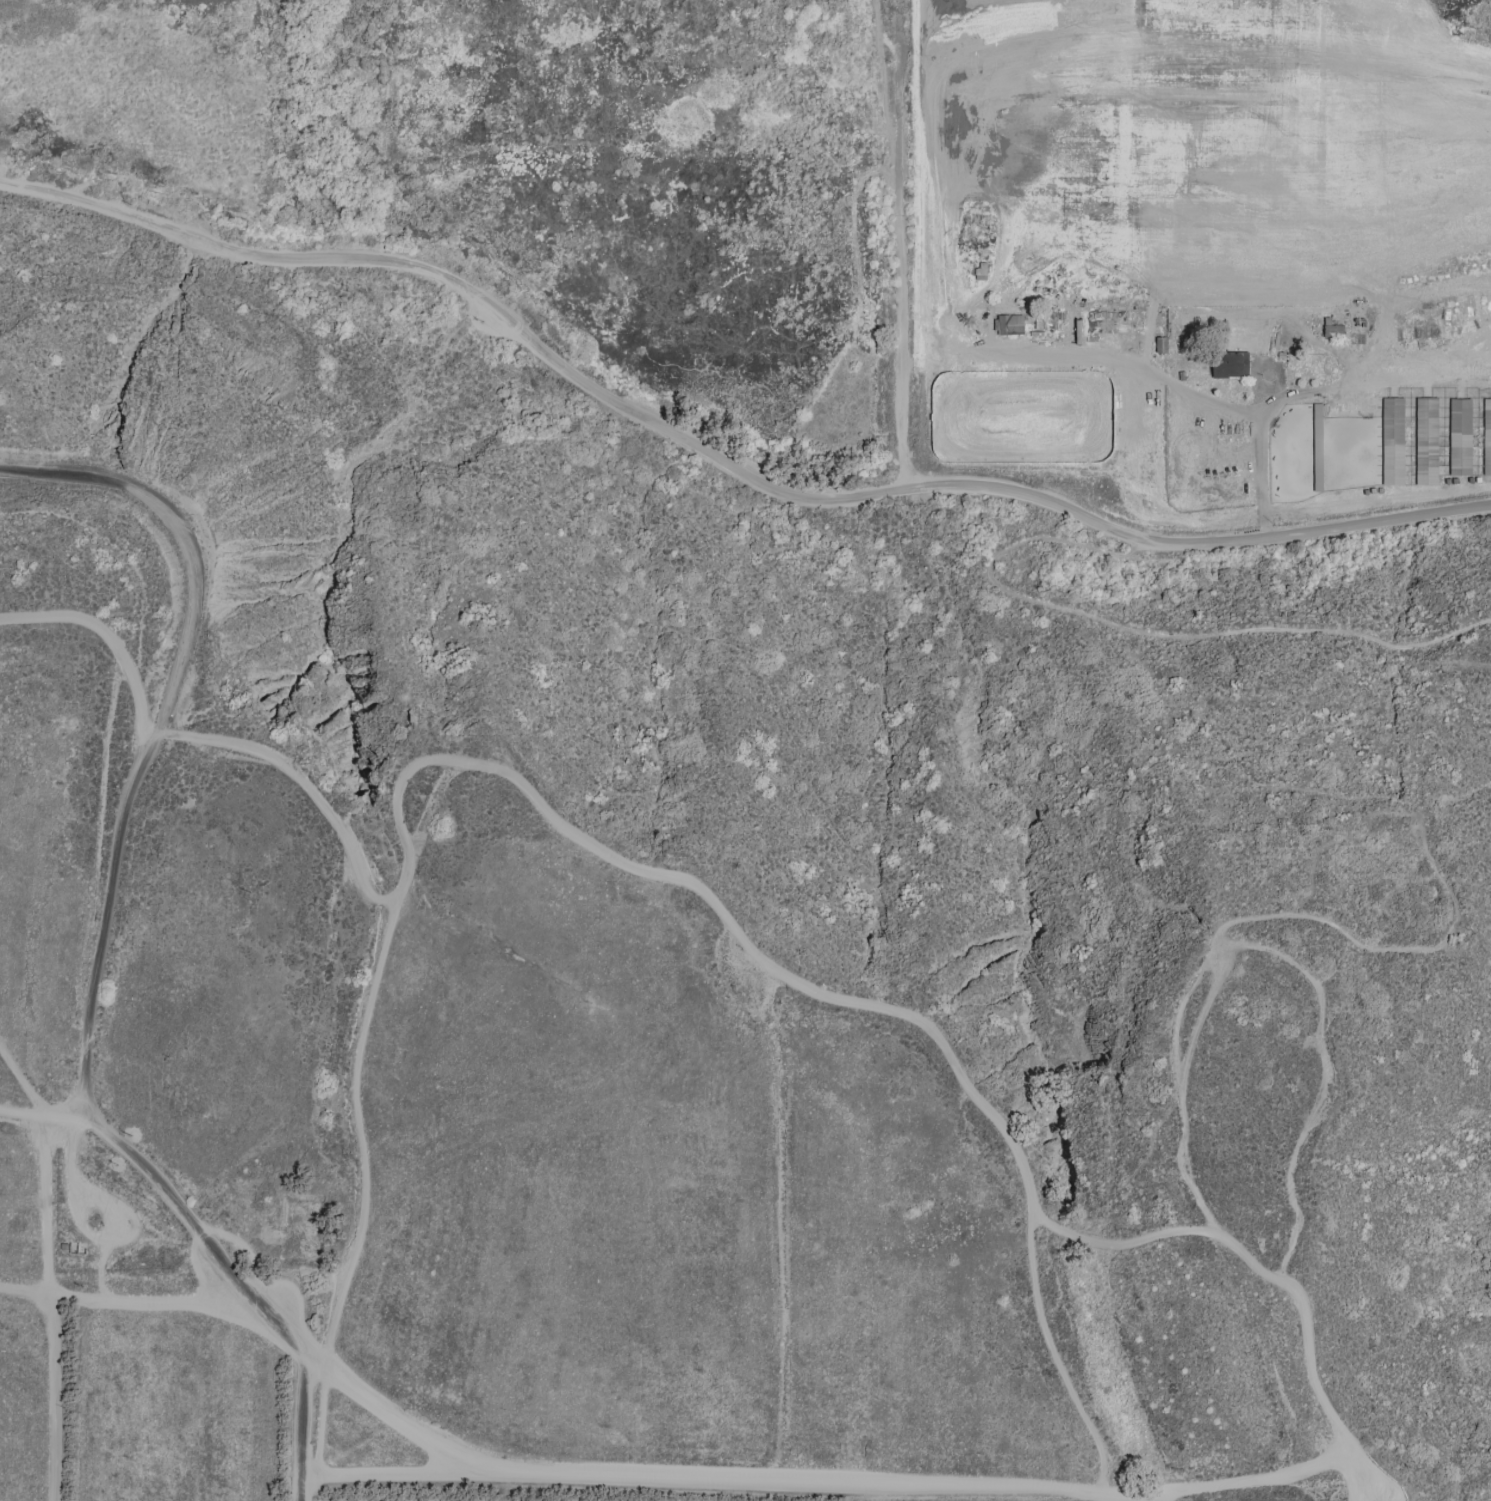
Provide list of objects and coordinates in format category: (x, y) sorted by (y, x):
road: (896, 244)
building: (985, 273)
building: (1002, 282)
building: (1119, 323)
building: (1013, 325)
building: (1336, 331)
building: (1082, 333)
building: (1164, 346)
building: (1233, 365)
road: (1339, 374)
road: (1169, 381)
building: (968, 395)
building: (1030, 408)
building: (1112, 424)
building: (1461, 436)
building: (1487, 437)
building: (1181, 440)
building: (1427, 440)
building: (1393, 441)
building: (1318, 447)
road: (722, 453)
road: (1144, 632)
road: (163, 726)
road: (1278, 950)
road: (18, 1081)
road: (354, 1134)
building: (78, 1247)
road: (1036, 1250)
road: (128, 1299)
road: (48, 1305)
road: (1308, 1358)
road: (306, 1426)
road: (1355, 1480)
road: (1369, 1480)

